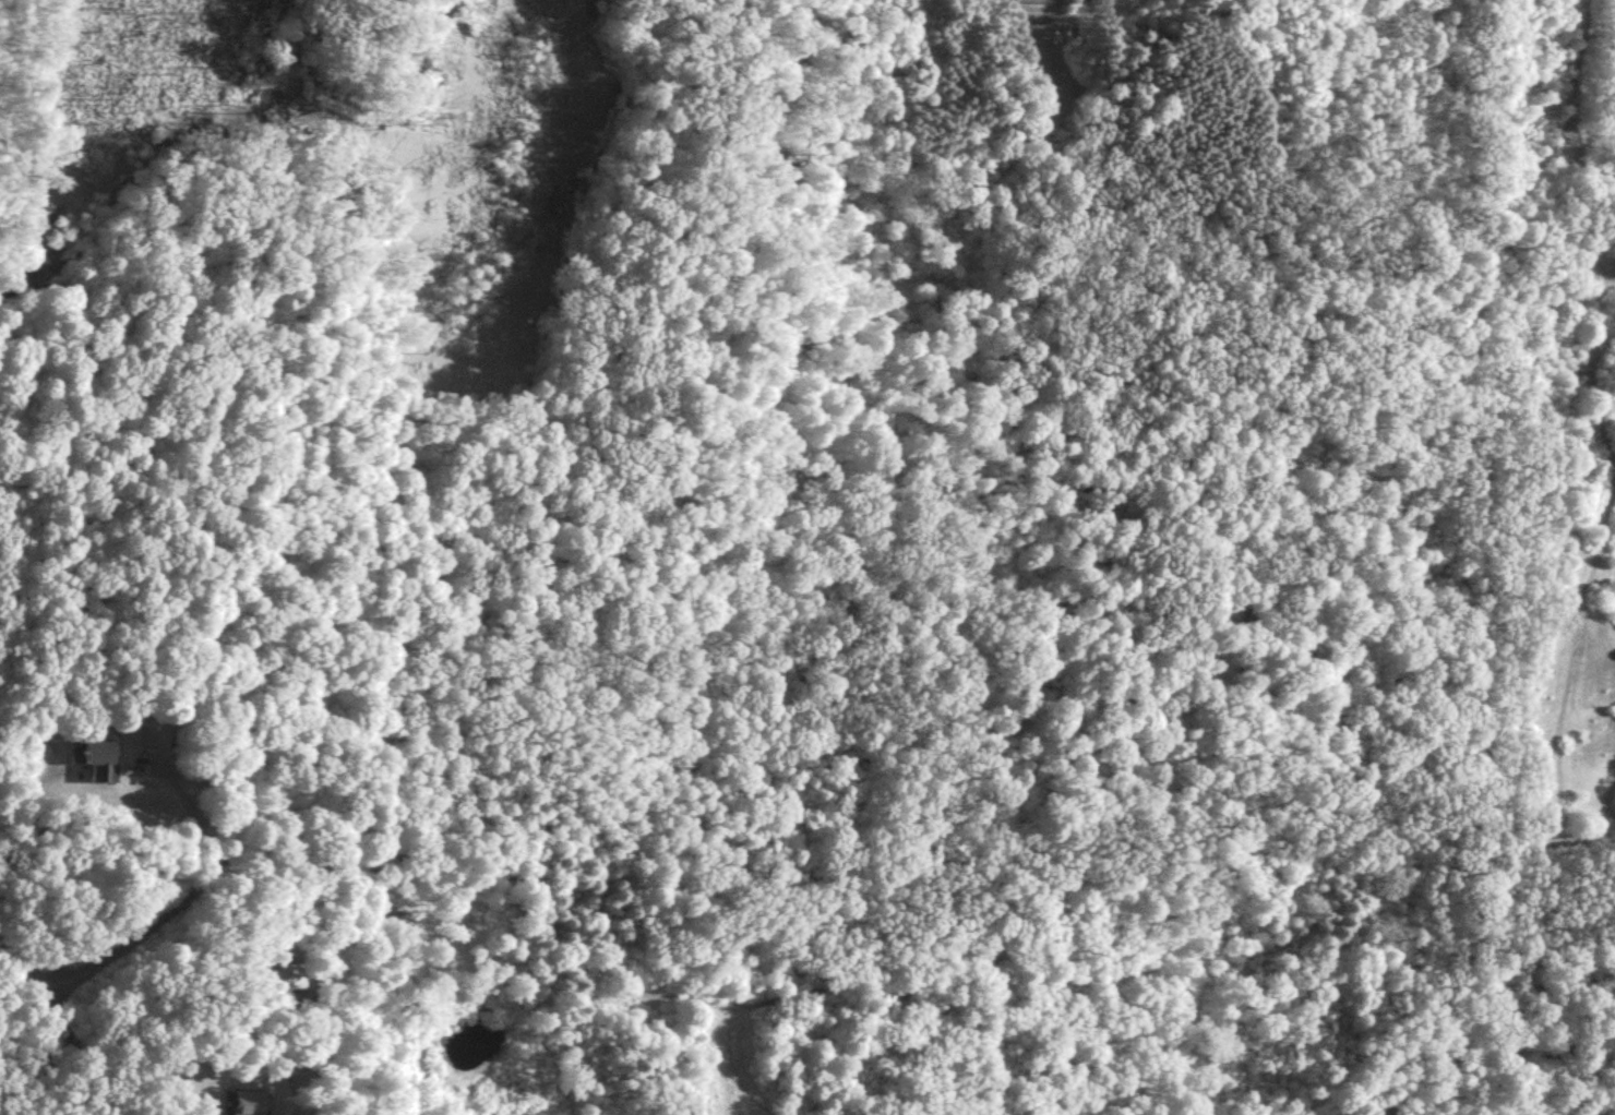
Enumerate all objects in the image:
building: (100, 759)
road: (169, 898)
road: (57, 1032)
building: (244, 1107)

